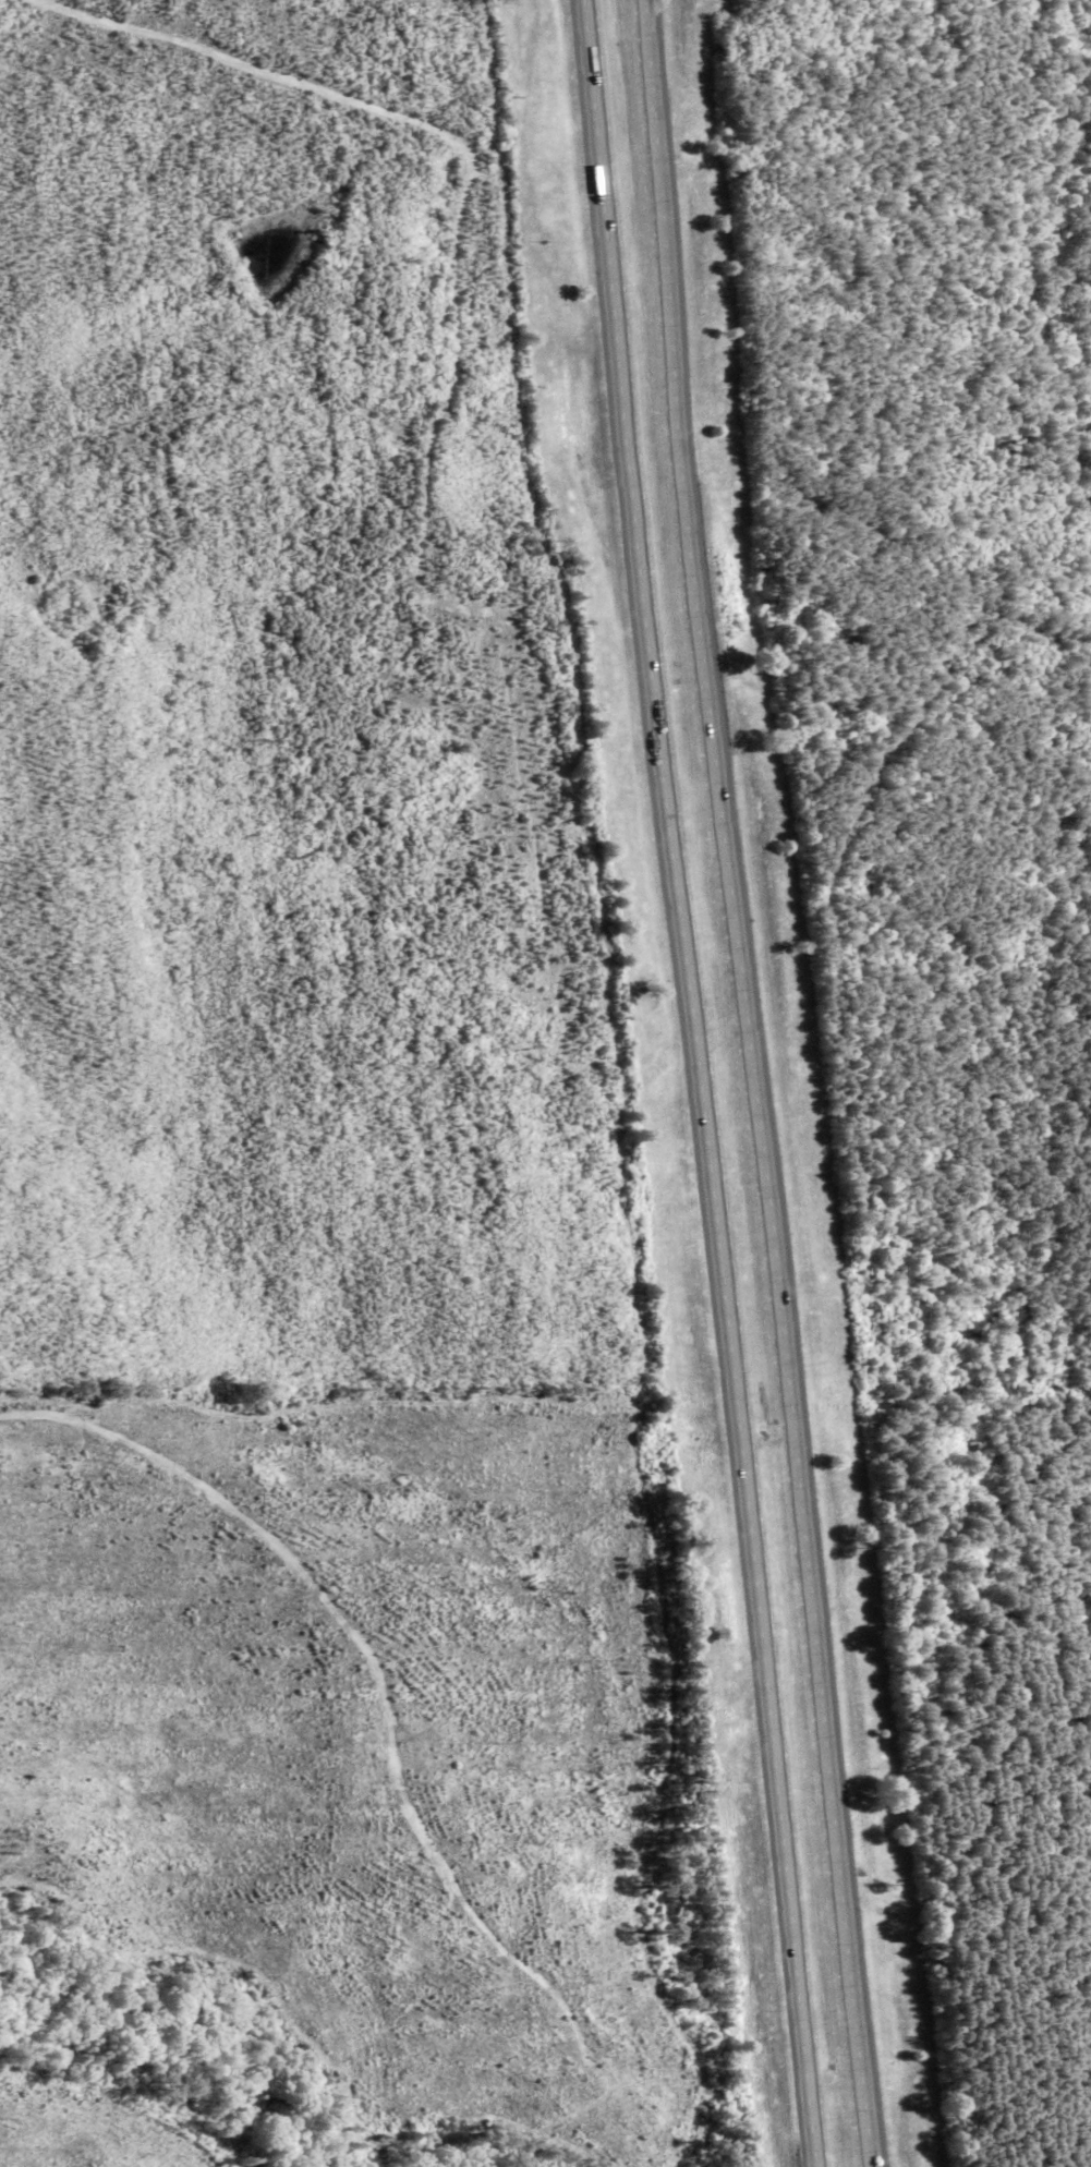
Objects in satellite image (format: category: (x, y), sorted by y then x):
road: (258, 69)
road: (634, 549)
road: (752, 1083)
road: (760, 1633)

